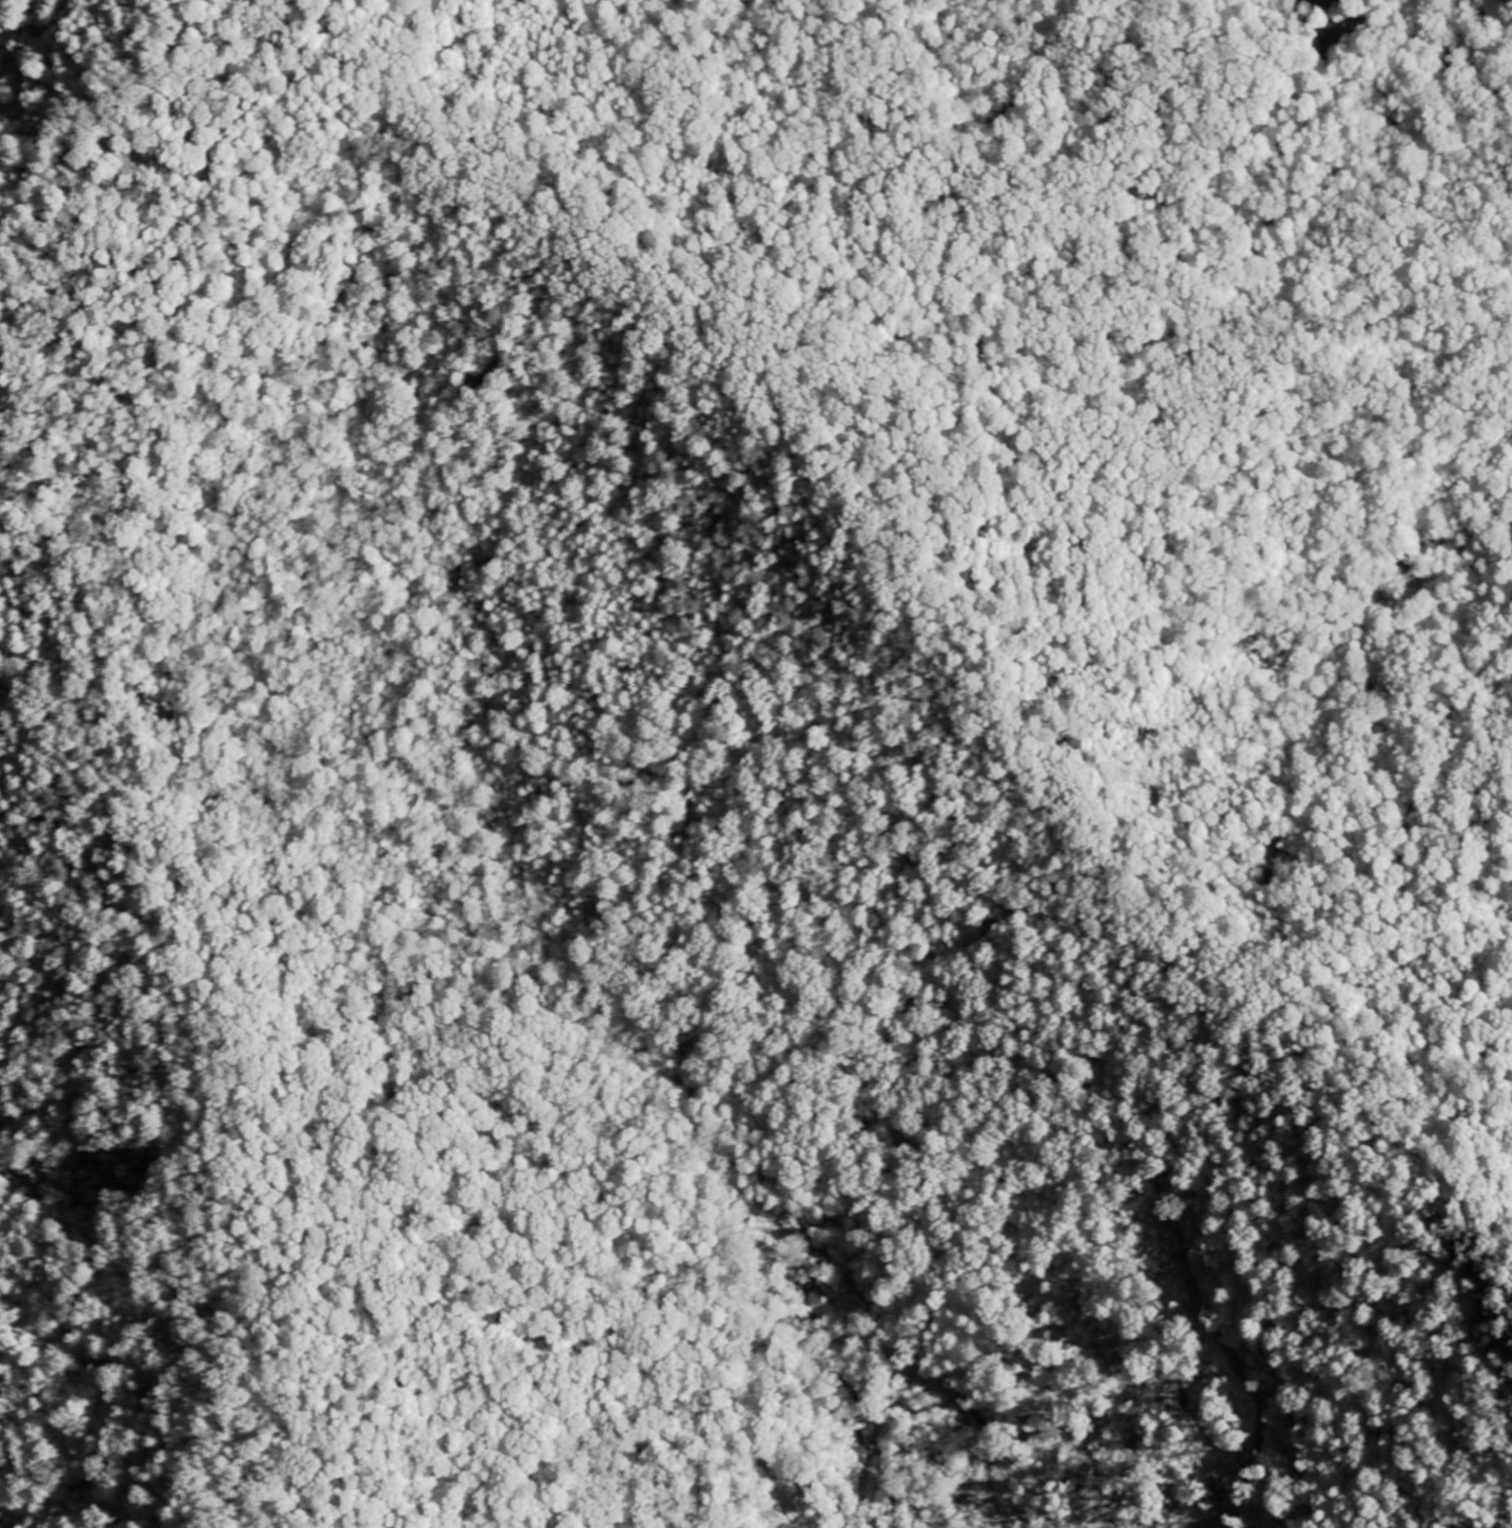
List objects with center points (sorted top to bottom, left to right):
road: (1510, 1)
road: (380, 425)
road: (132, 690)
road: (84, 887)

